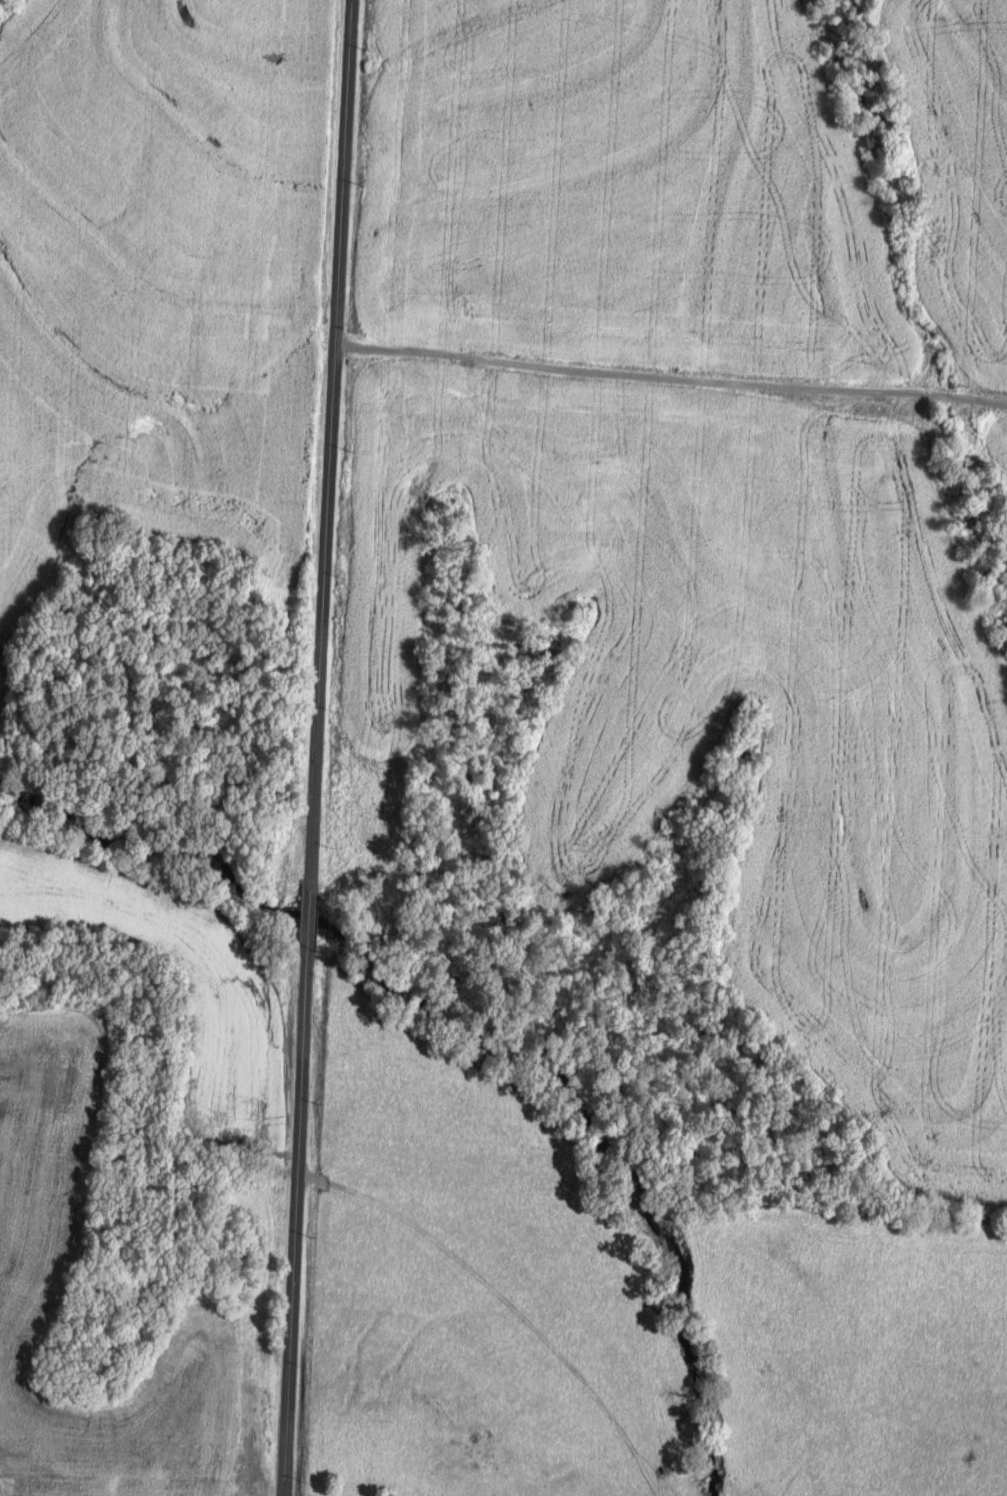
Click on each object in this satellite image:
road: (670, 373)
road: (315, 747)
road: (569, 1239)

